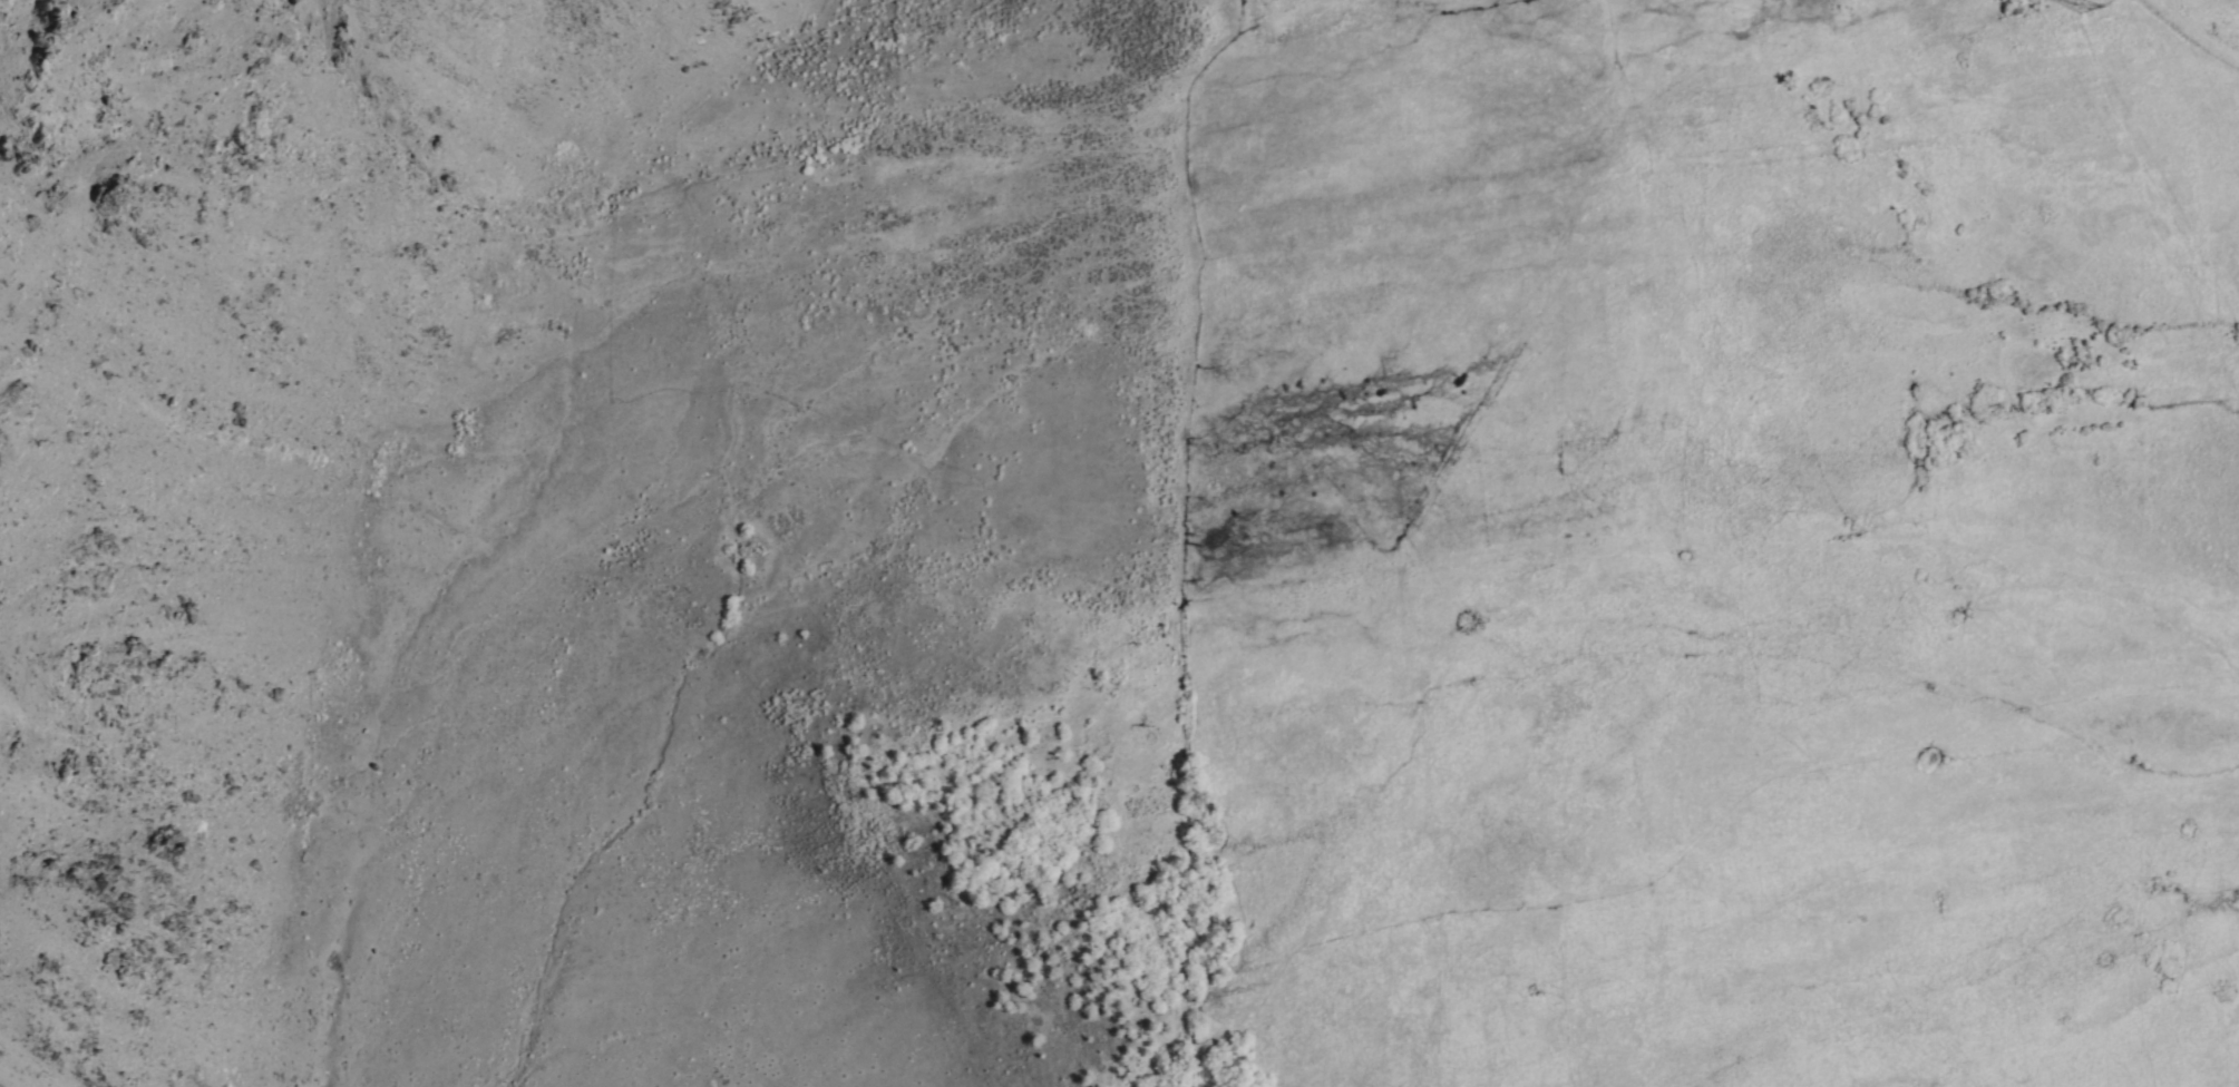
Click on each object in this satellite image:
power tower: (2083, 2)

